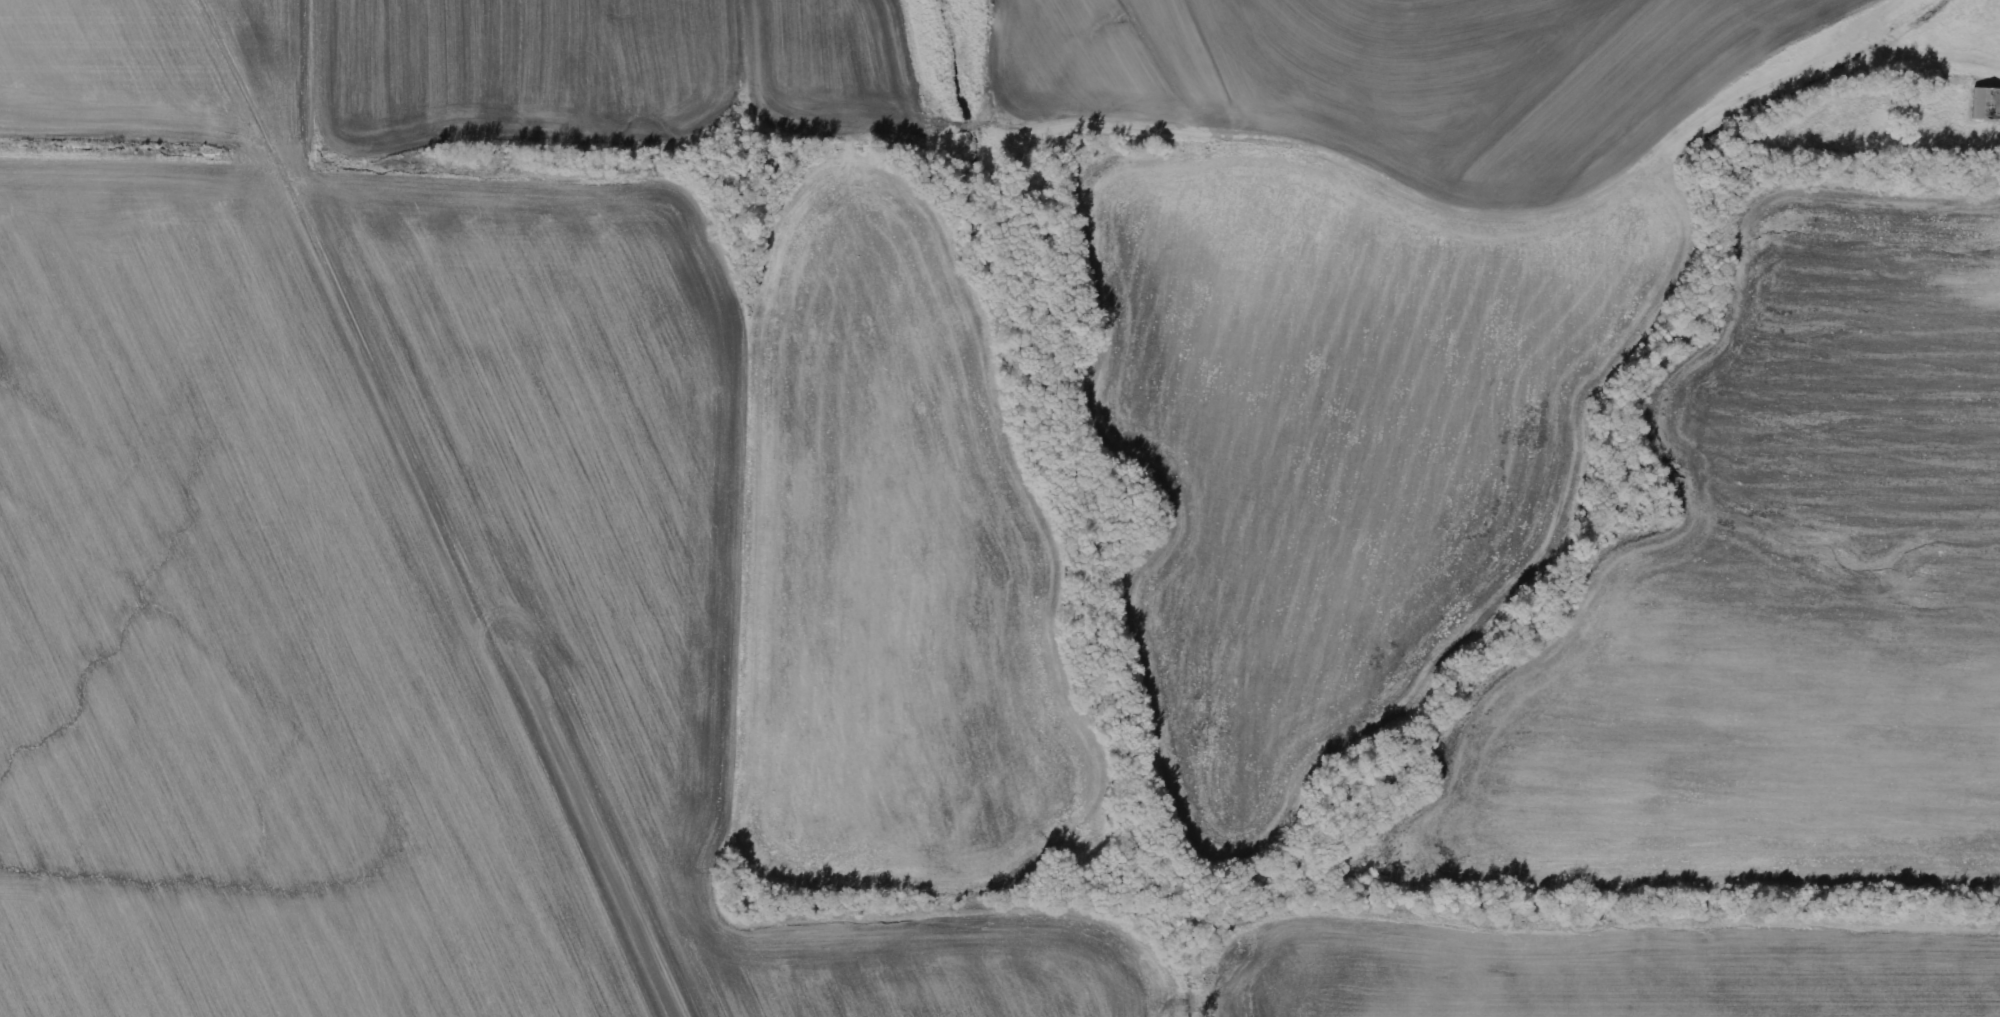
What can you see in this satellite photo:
building: (1986, 103)

